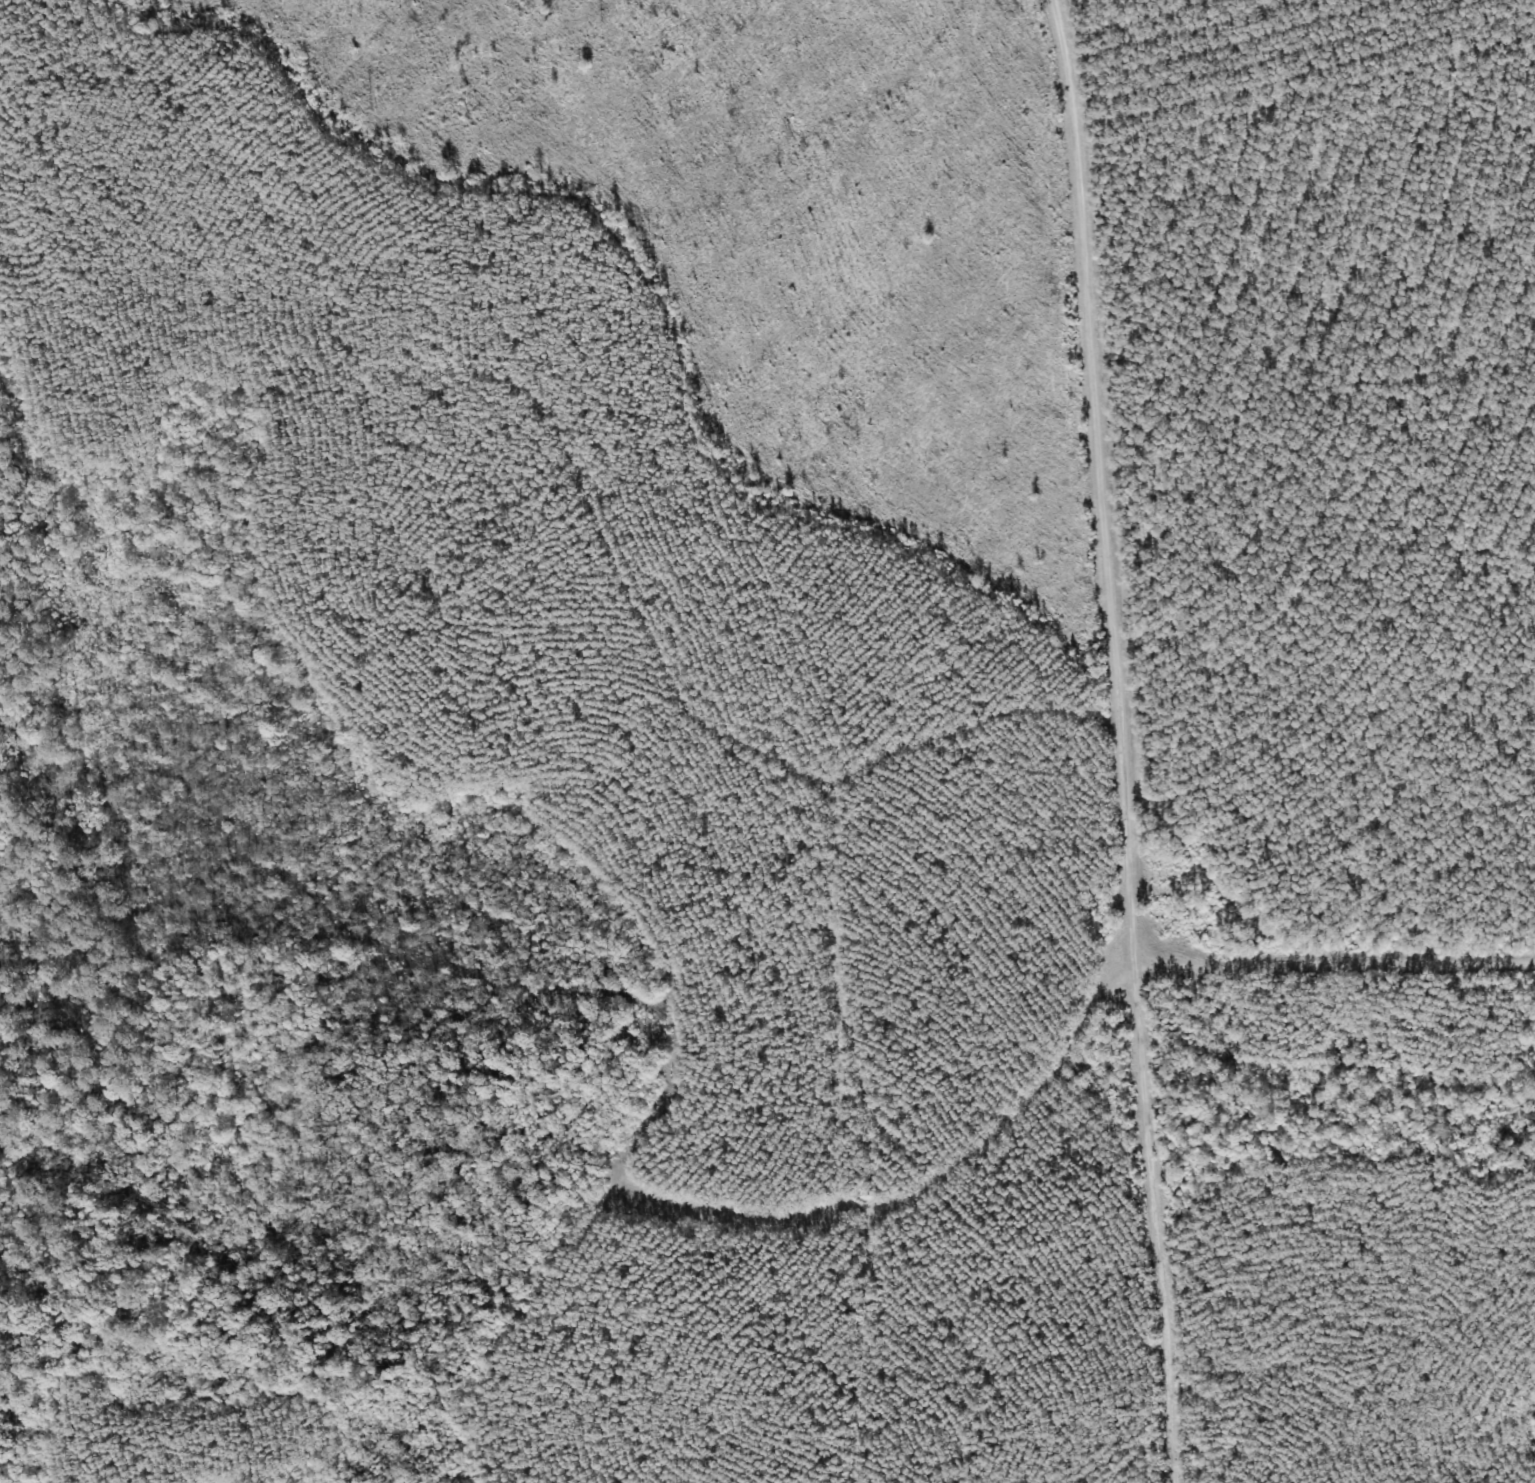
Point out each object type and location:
road: (798, 337)
road: (1122, 738)

